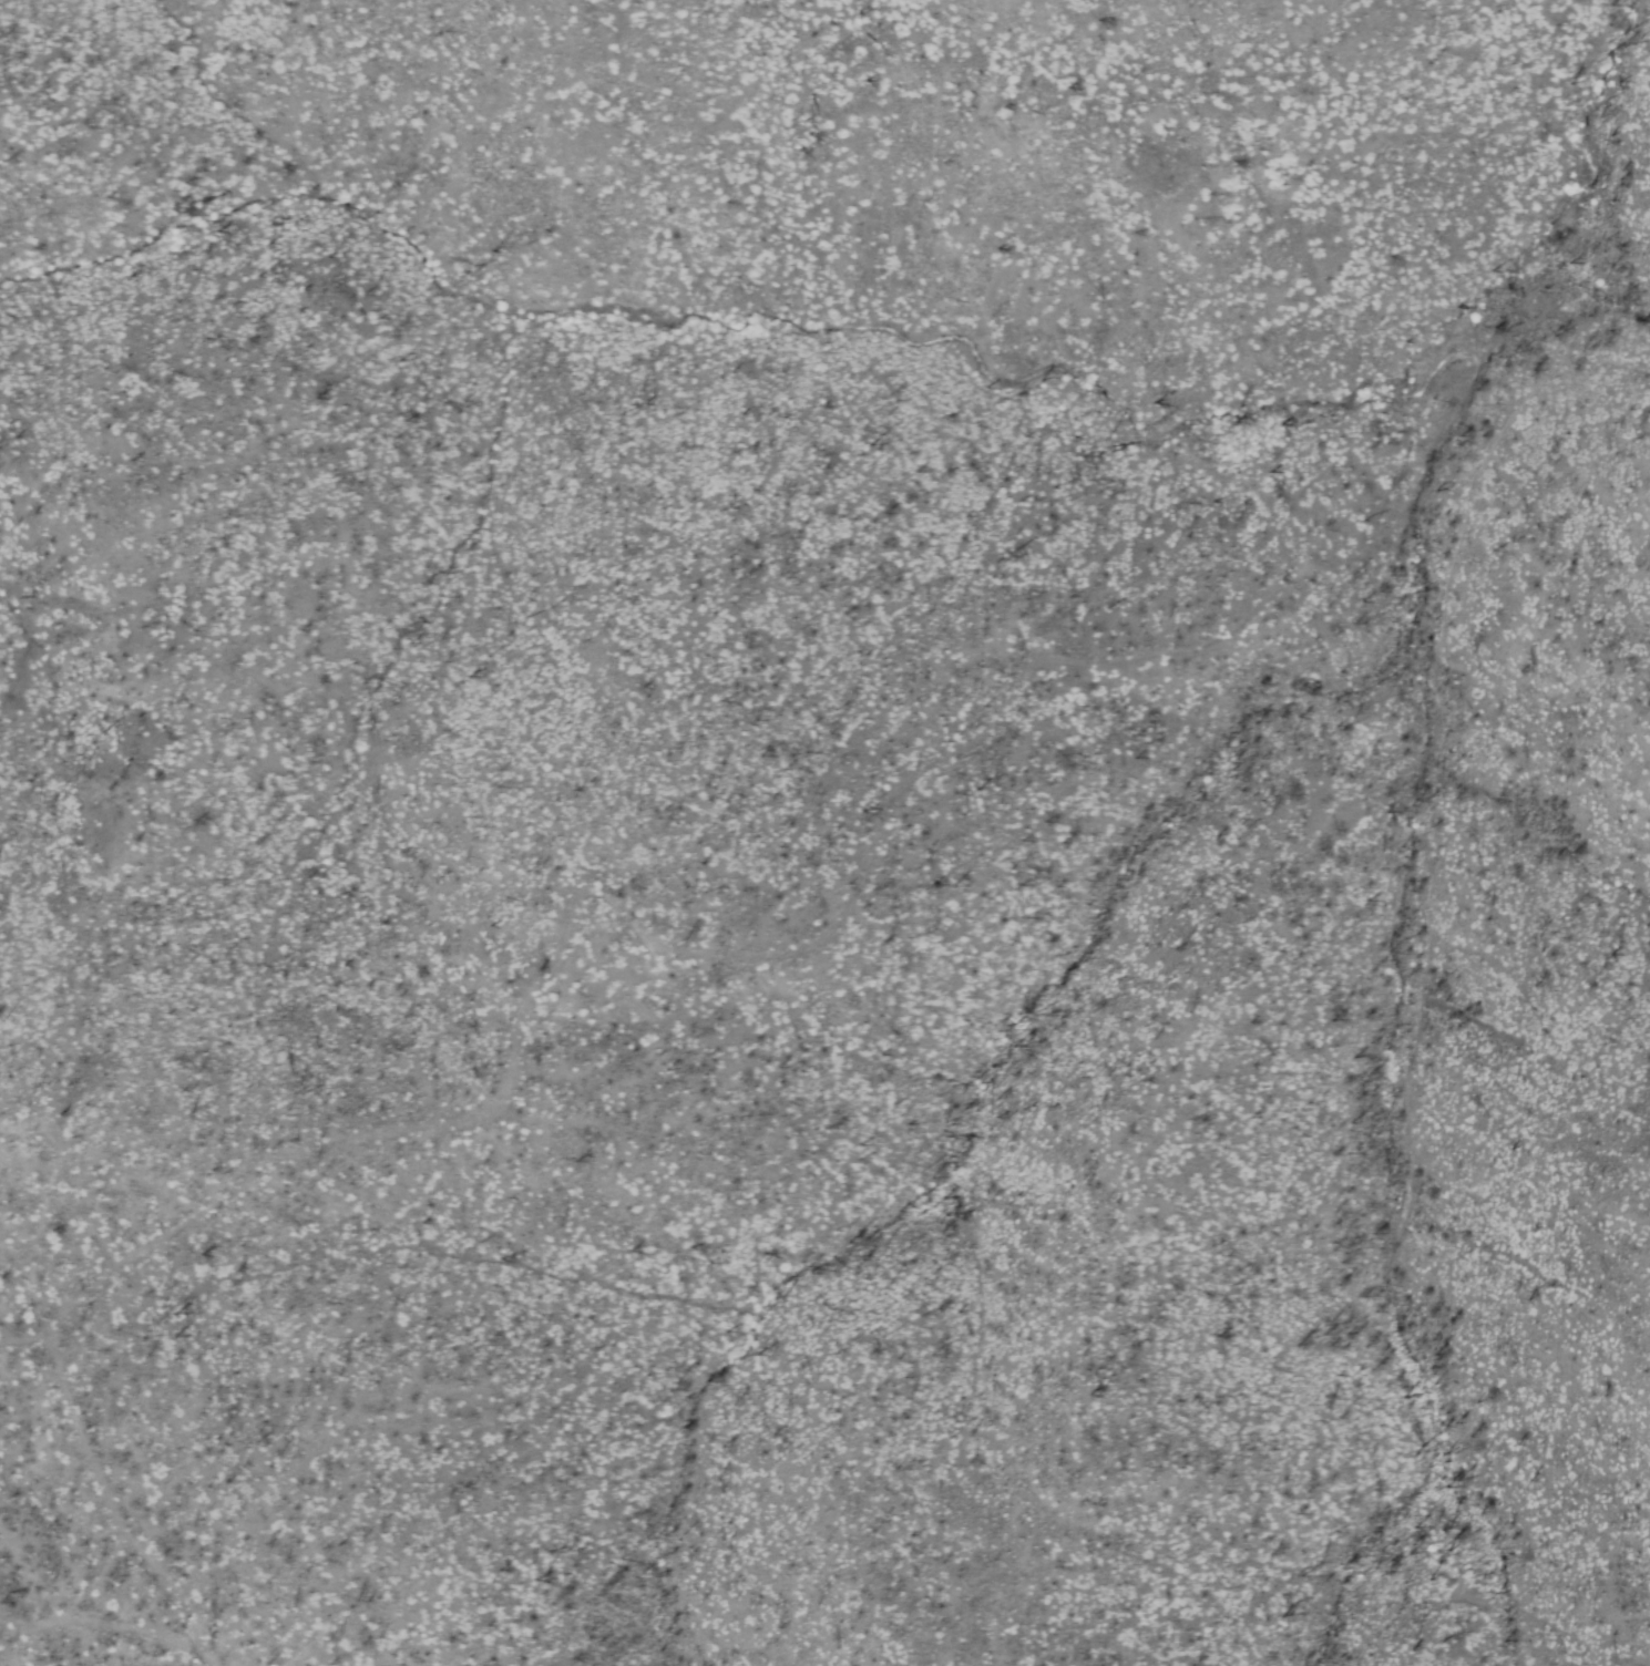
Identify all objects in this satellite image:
road: (790, 950)
road: (1417, 959)
road: (60, 1376)
road: (107, 1627)
road: (305, 1649)

